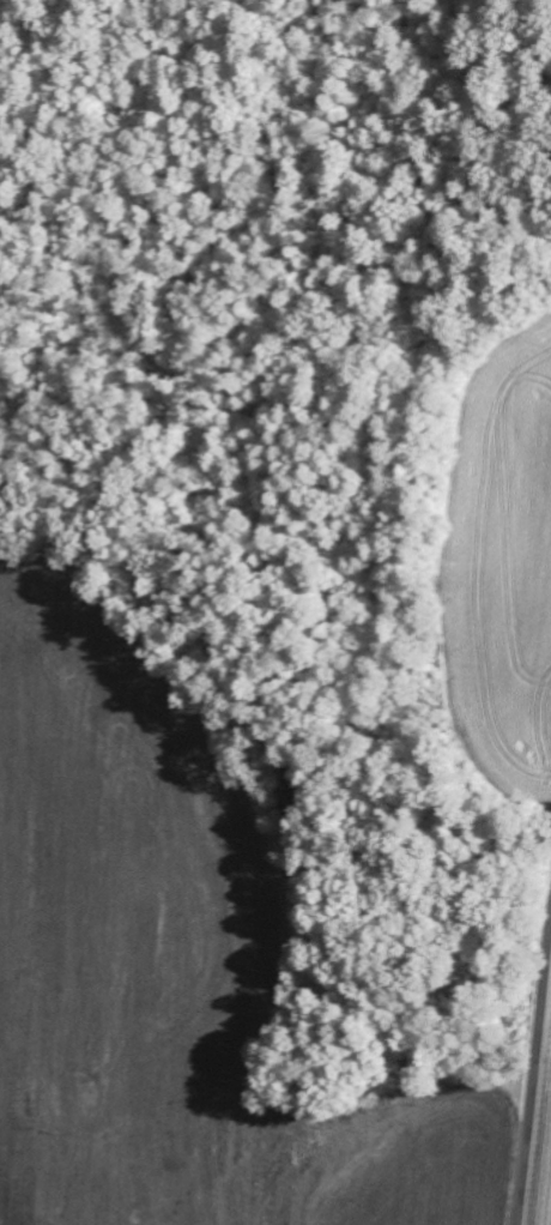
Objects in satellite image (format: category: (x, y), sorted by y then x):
road: (533, 1069)

